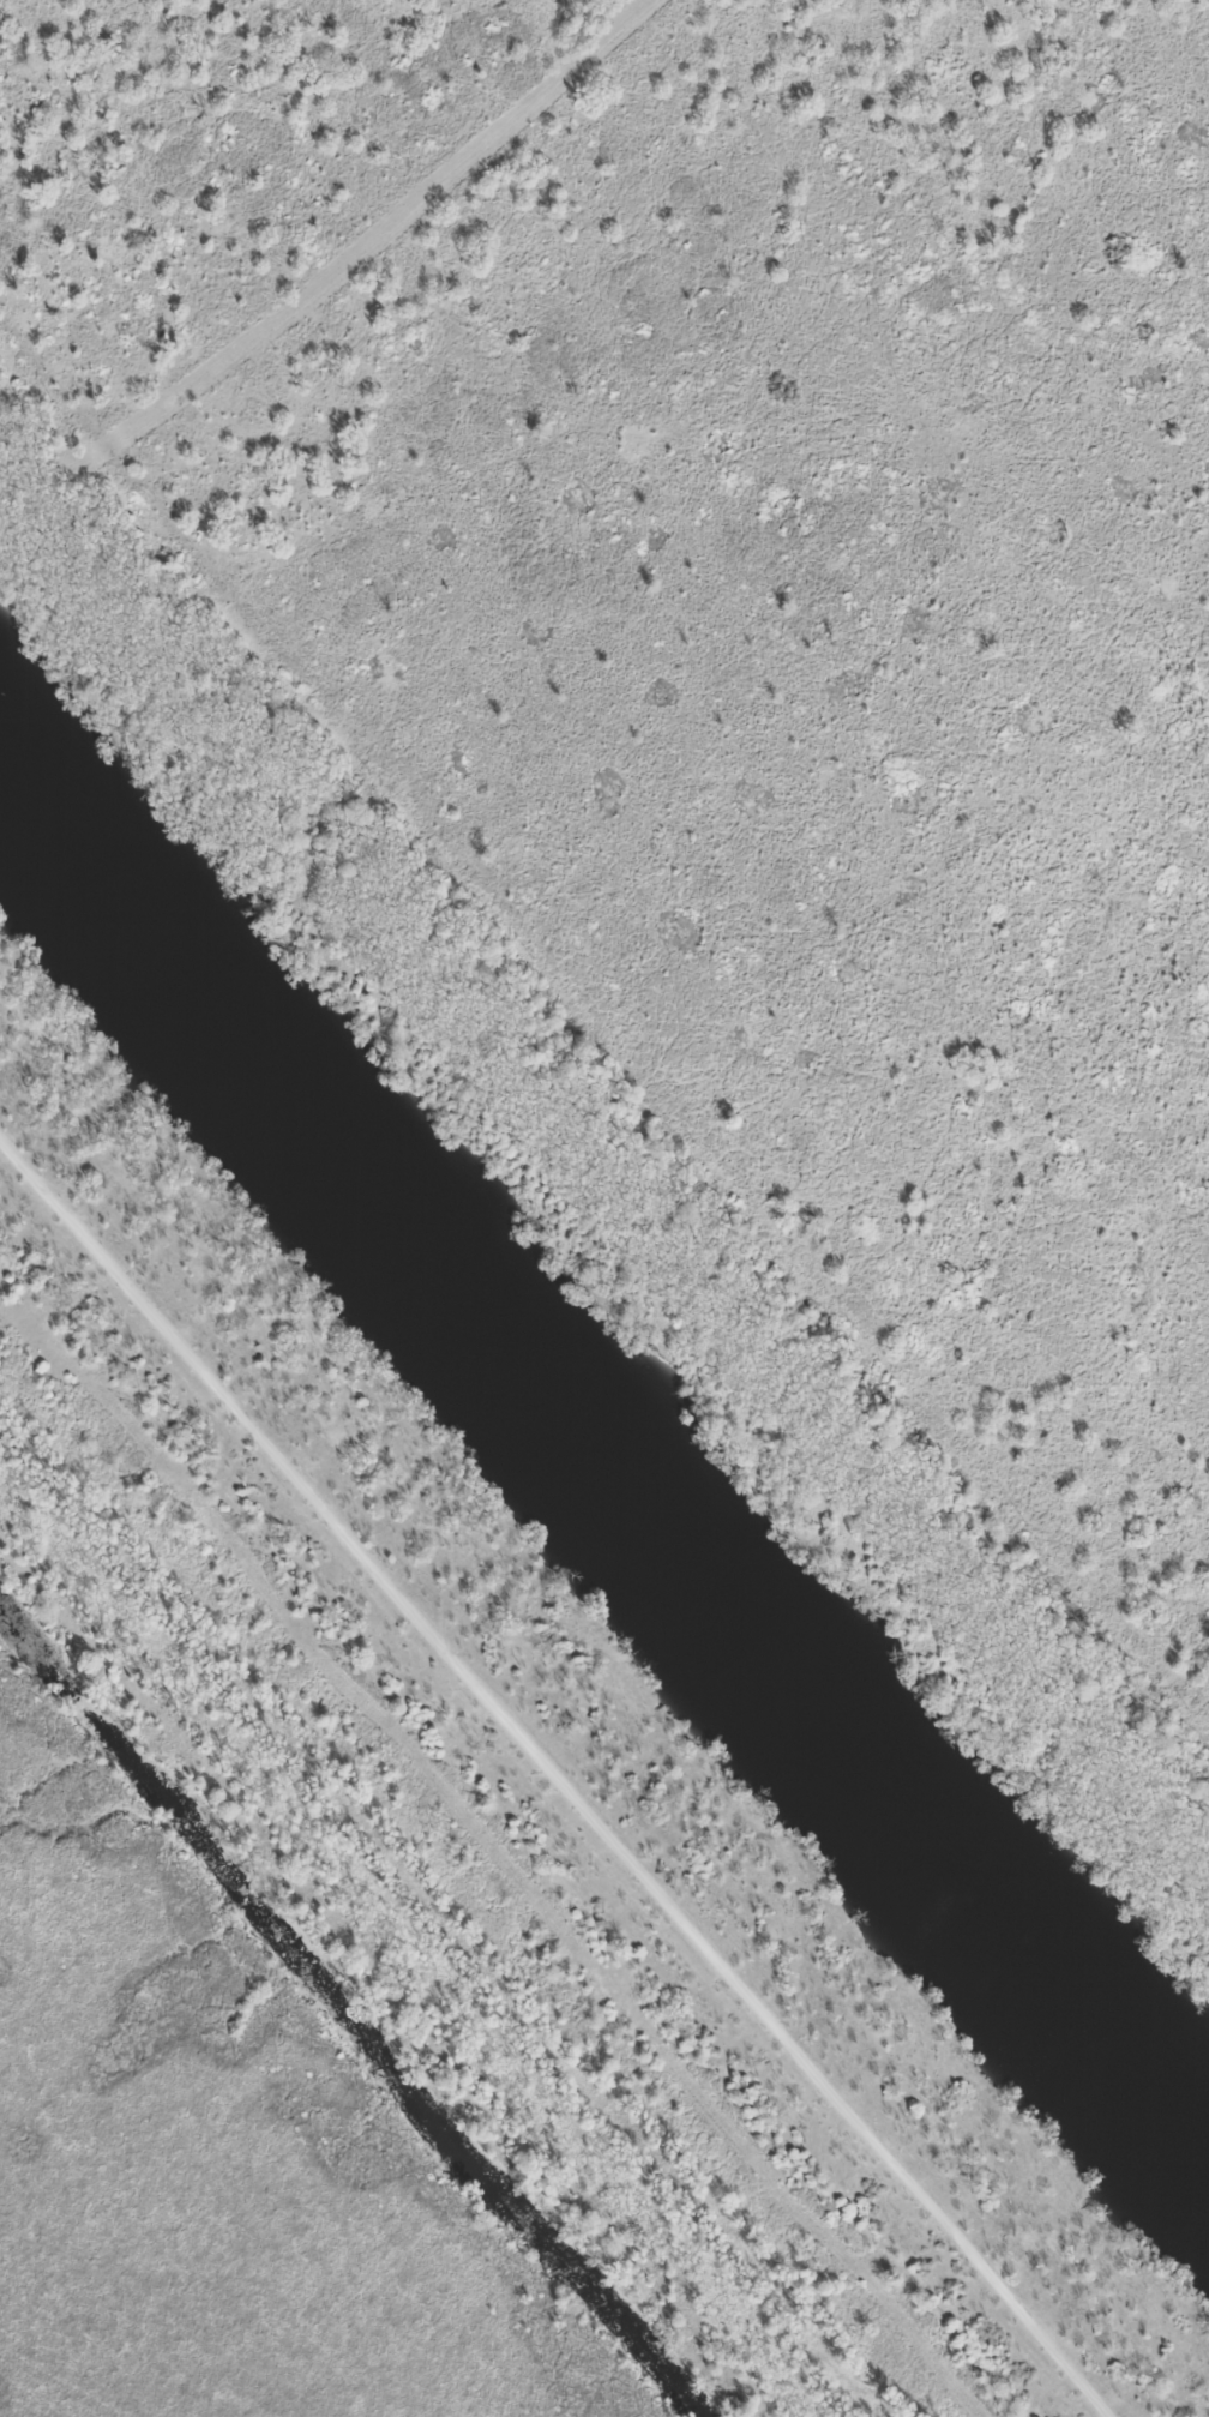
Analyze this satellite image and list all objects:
road: (553, 1776)

